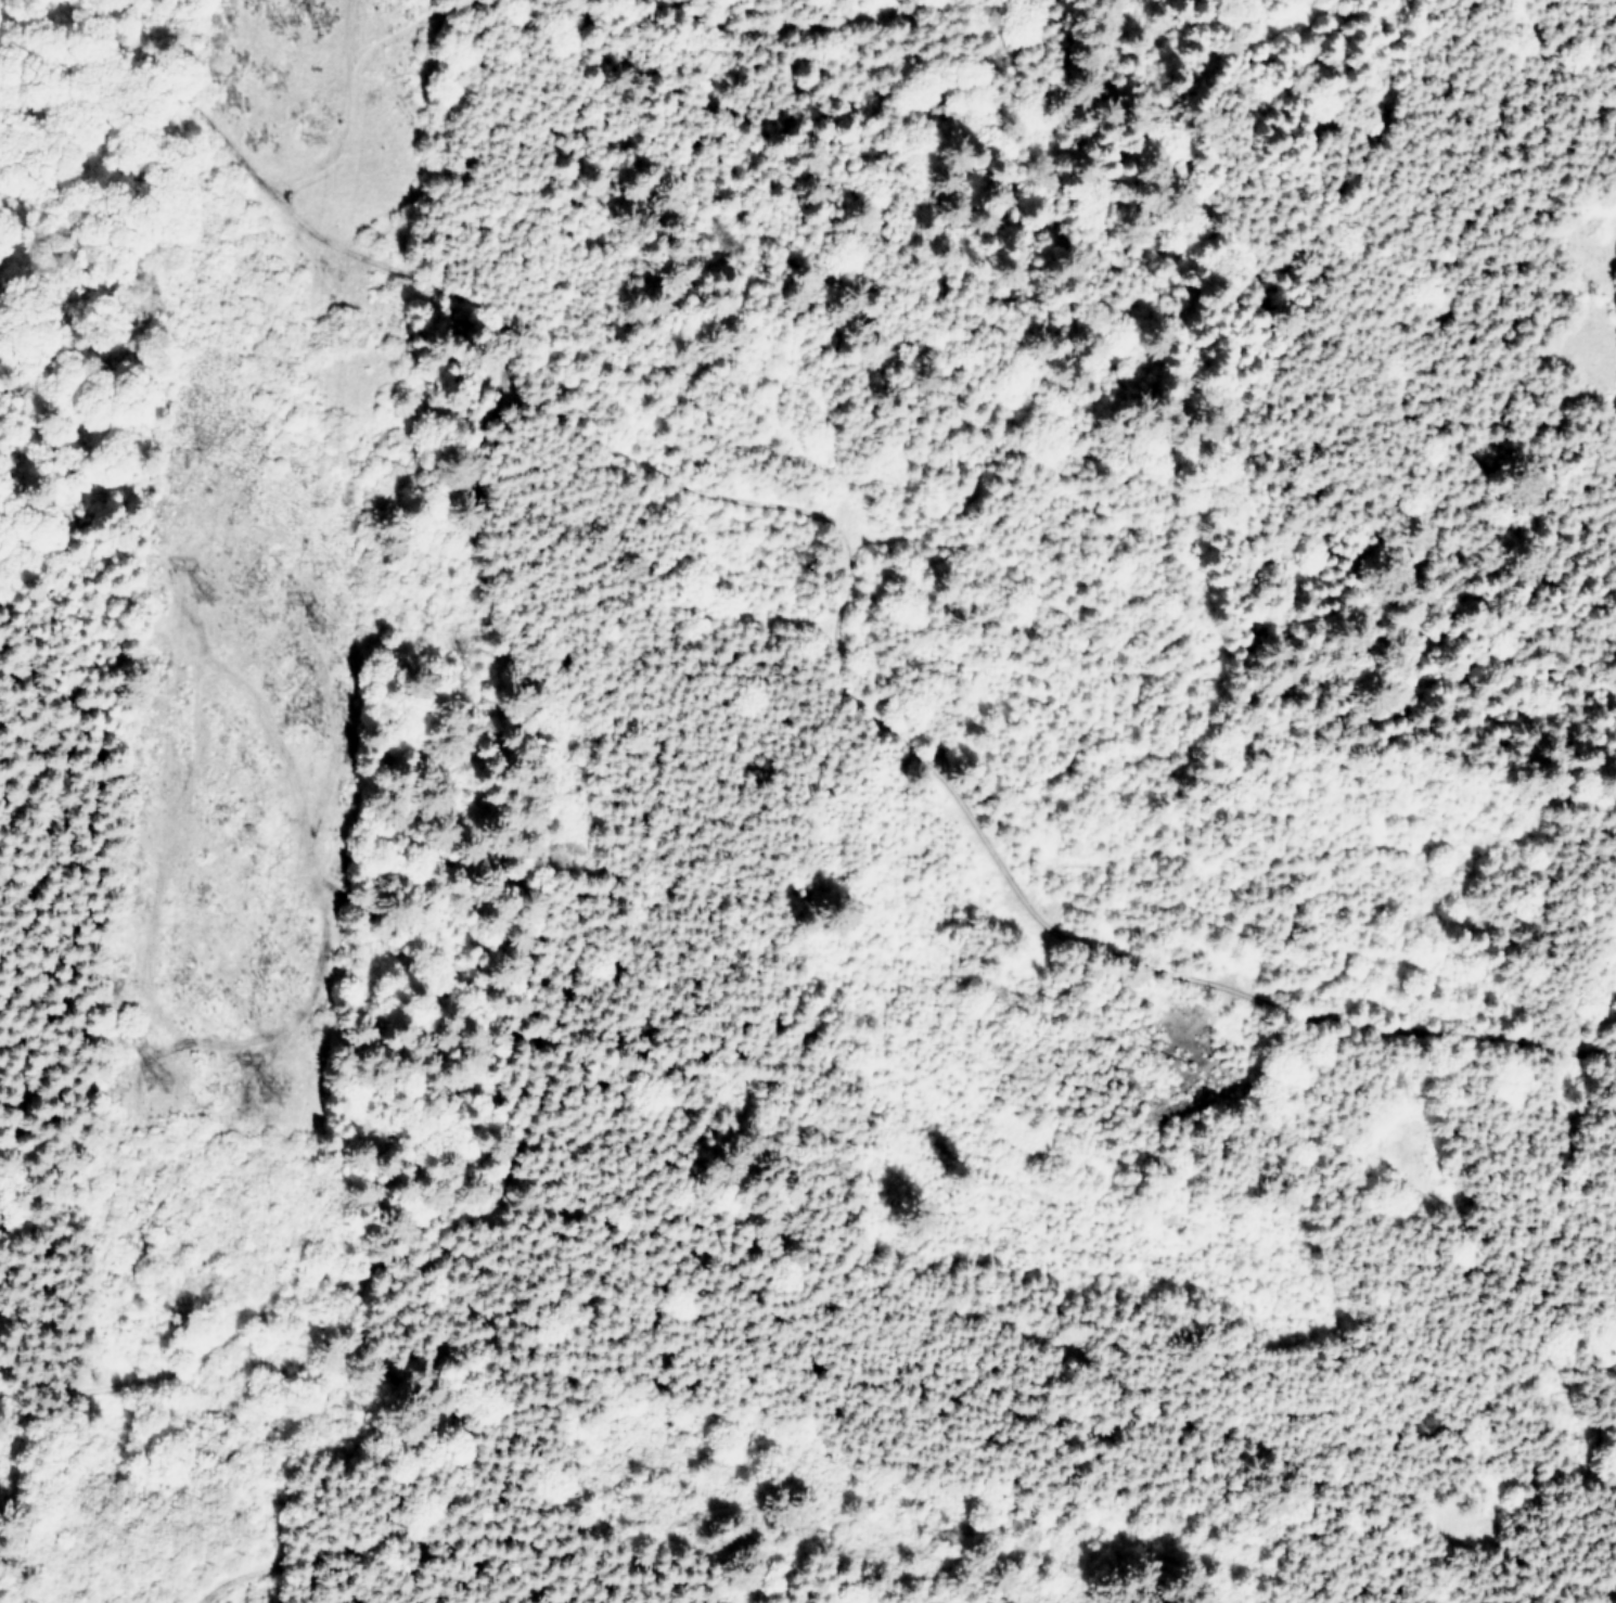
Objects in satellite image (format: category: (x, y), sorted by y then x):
power tower: (208, 607)
power tower: (303, 645)
power tower: (145, 1087)
power tower: (267, 1111)

